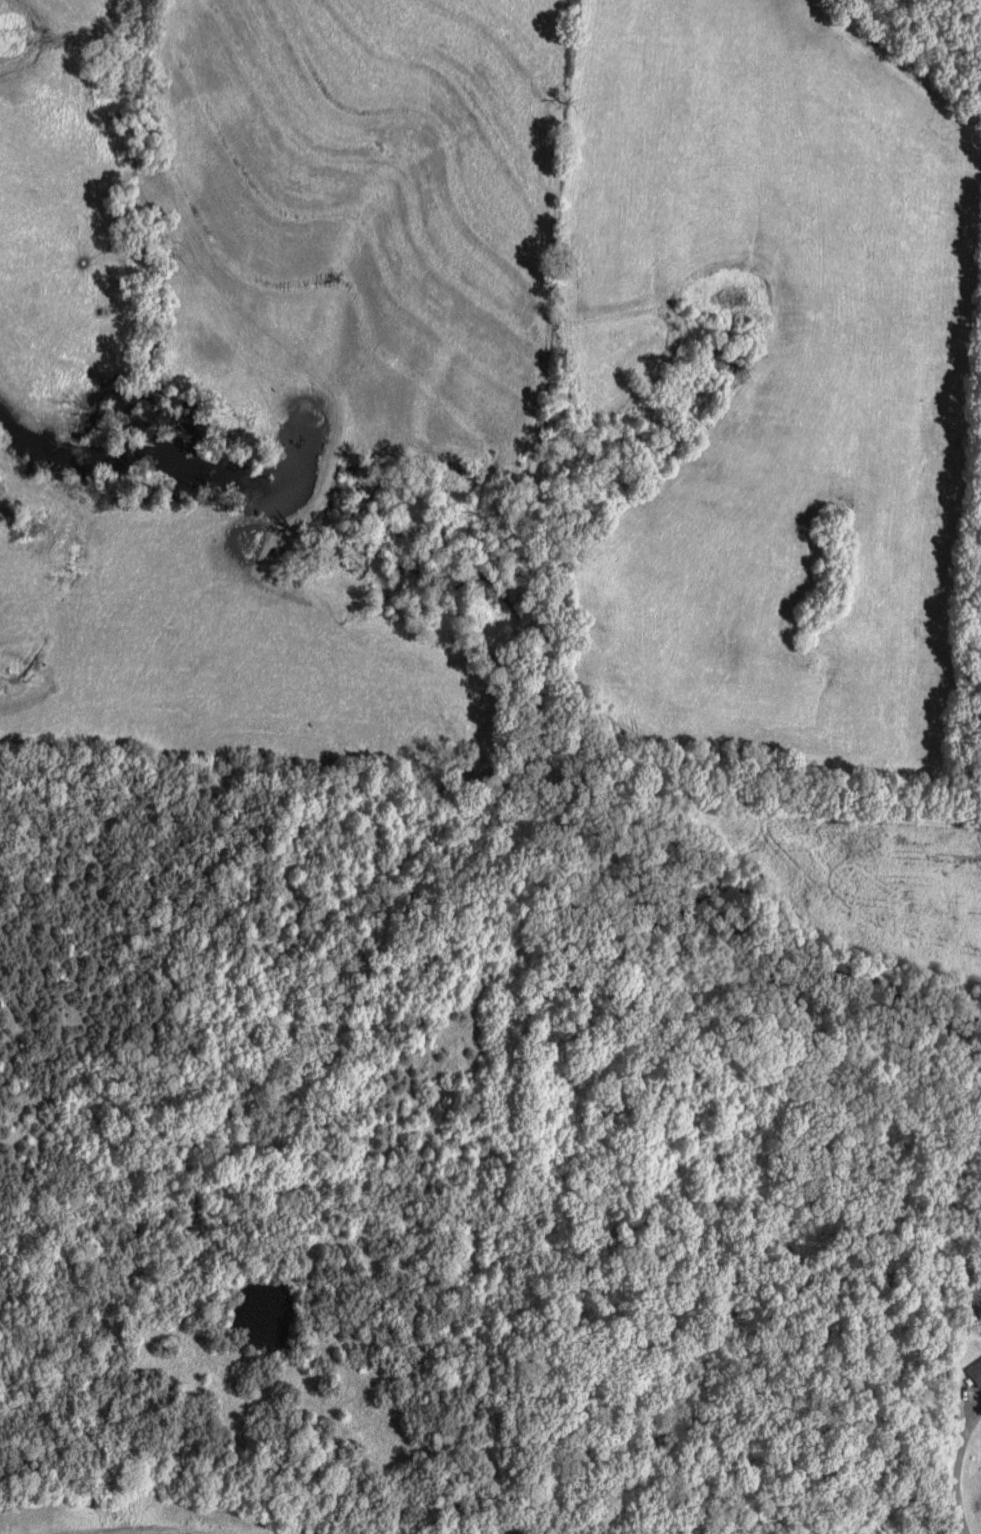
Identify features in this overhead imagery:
building: (973, 1374)
road: (957, 1465)

